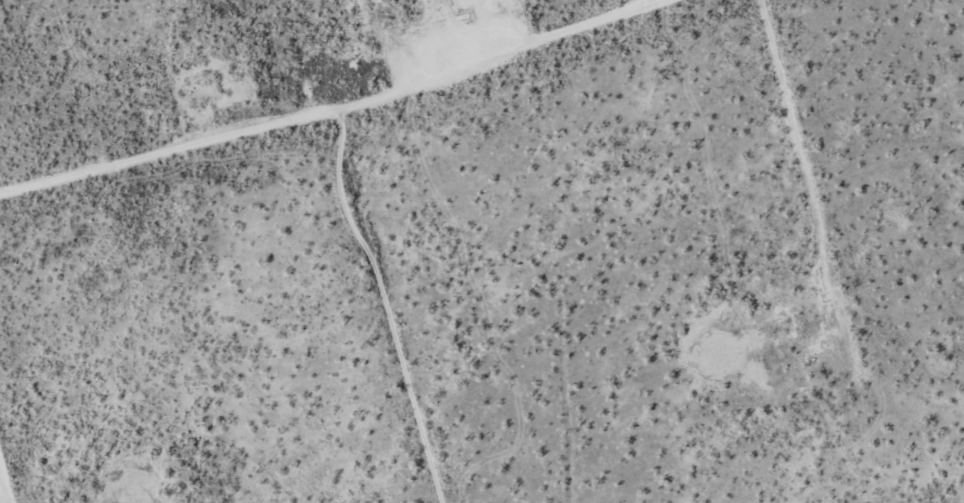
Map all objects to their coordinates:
road: (3, 487)

